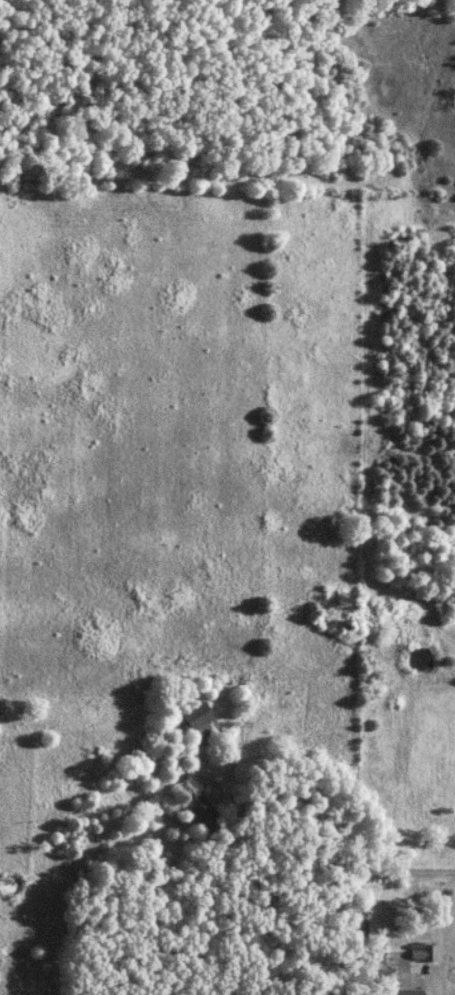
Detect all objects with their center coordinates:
building: (205, 723)
building: (207, 814)
road: (97, 852)

